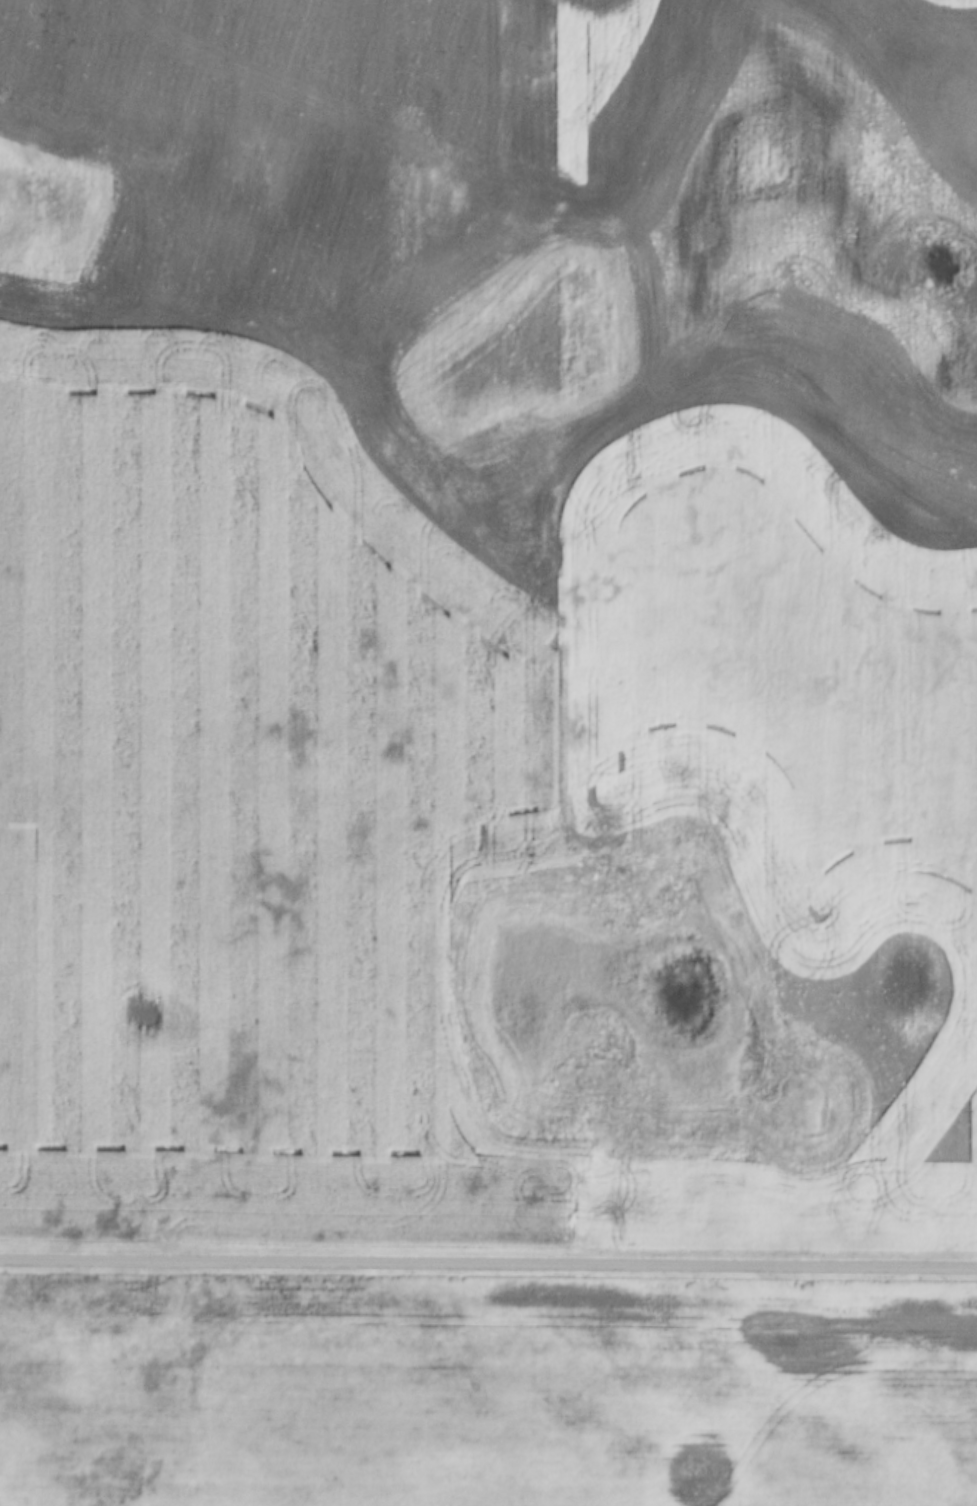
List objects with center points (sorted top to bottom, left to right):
road: (488, 1266)

